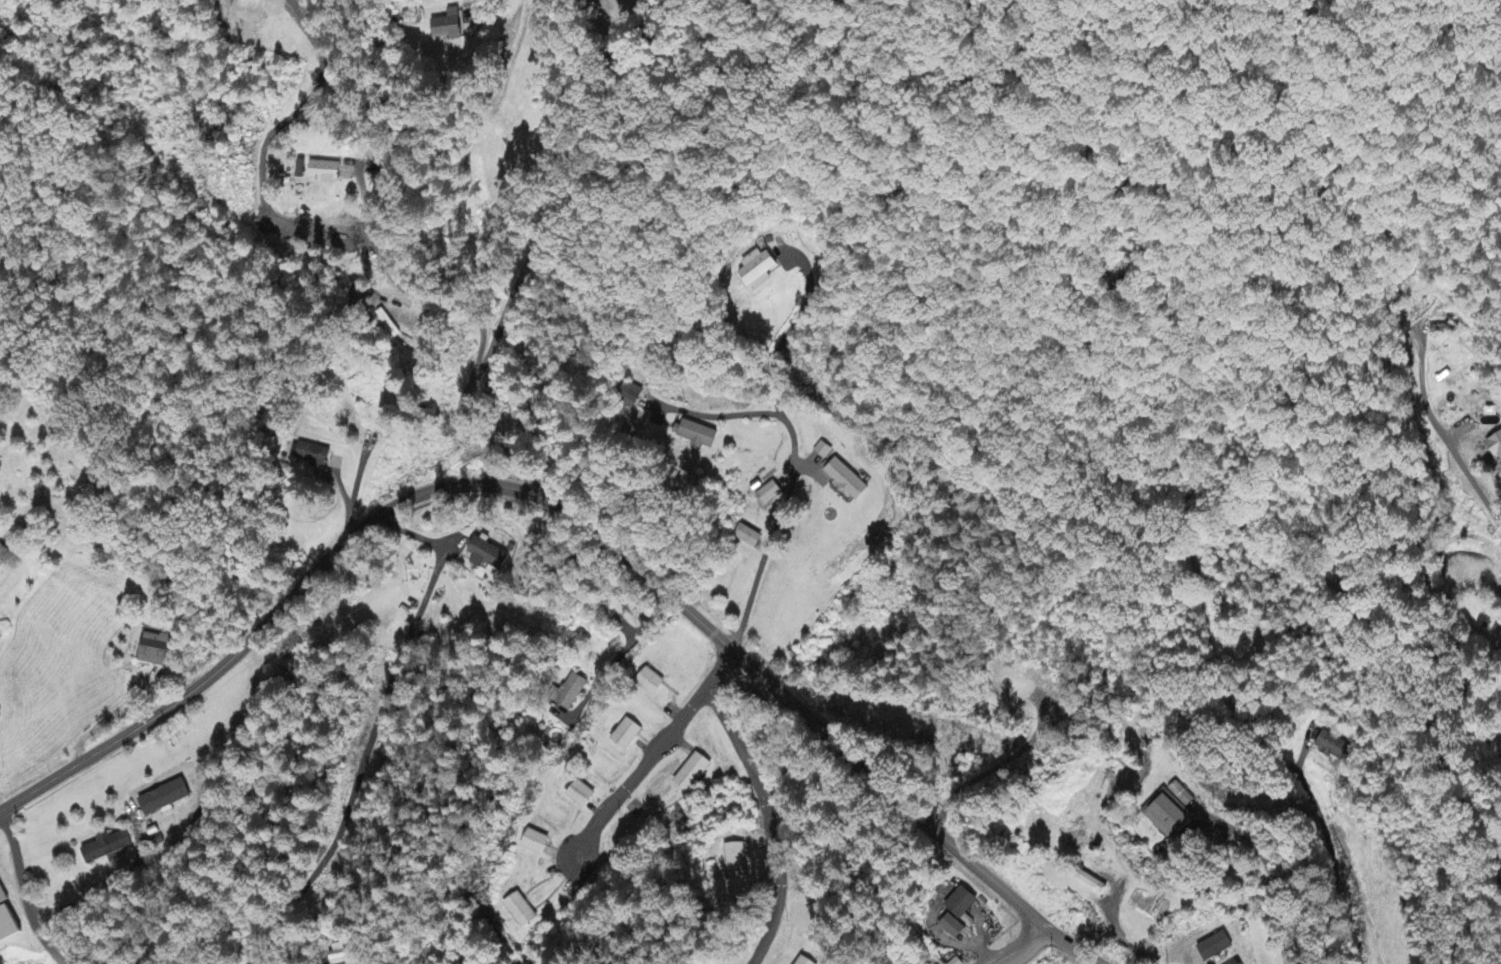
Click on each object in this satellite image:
building: (449, 27)
road: (547, 124)
building: (325, 172)
road: (545, 252)
building: (758, 270)
building: (632, 397)
building: (699, 435)
building: (1497, 446)
building: (824, 451)
building: (312, 455)
road: (789, 469)
road: (1472, 478)
building: (849, 481)
building: (771, 494)
road: (575, 515)
building: (748, 538)
building: (487, 555)
building: (4, 556)
road: (1496, 587)
building: (155, 650)
building: (651, 683)
building: (576, 689)
building: (628, 735)
building: (1332, 747)
road: (657, 749)
building: (694, 774)
building: (582, 796)
building: (166, 800)
building: (1168, 815)
road: (766, 819)
building: (537, 844)
building: (736, 862)
road: (19, 874)
road: (1264, 879)
building: (1093, 882)
building: (963, 903)
building: (521, 912)
building: (9, 923)
building: (954, 928)
road: (1018, 946)
building: (1217, 947)
road: (53, 952)
building: (342, 953)
building: (806, 961)

